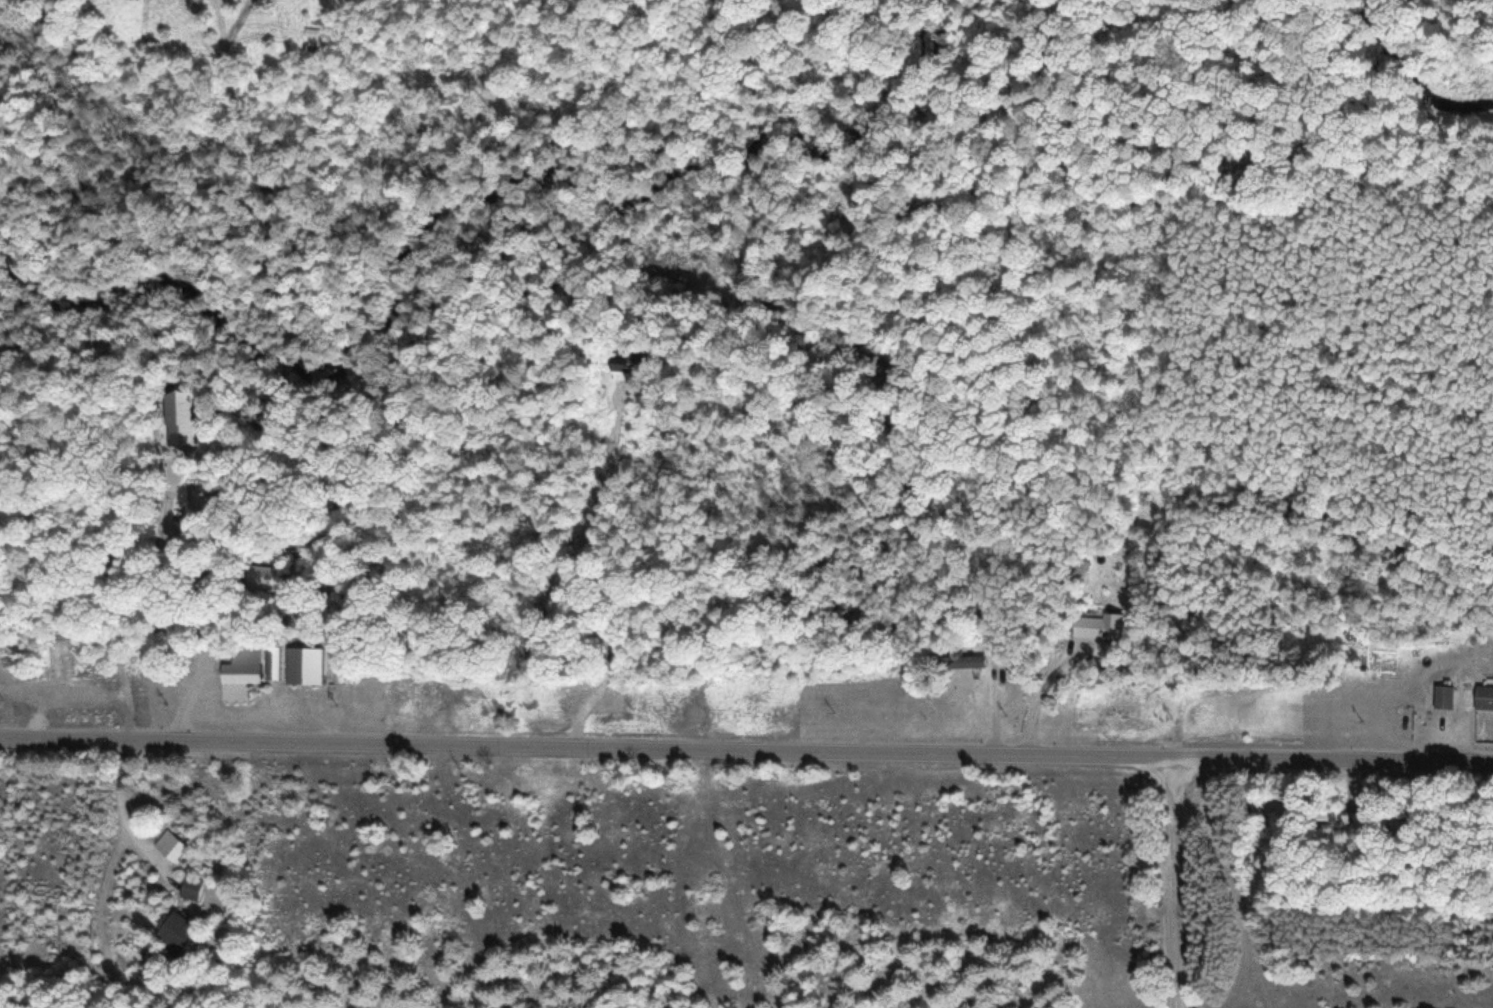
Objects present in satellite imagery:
building: (630, 360)
building: (181, 419)
building: (1099, 626)
building: (963, 660)
building: (243, 674)
building: (1445, 696)
building: (1484, 697)
road: (746, 752)
building: (1334, 820)
building: (1393, 829)
building: (170, 845)
road: (1176, 884)
building: (191, 887)
building: (176, 933)

